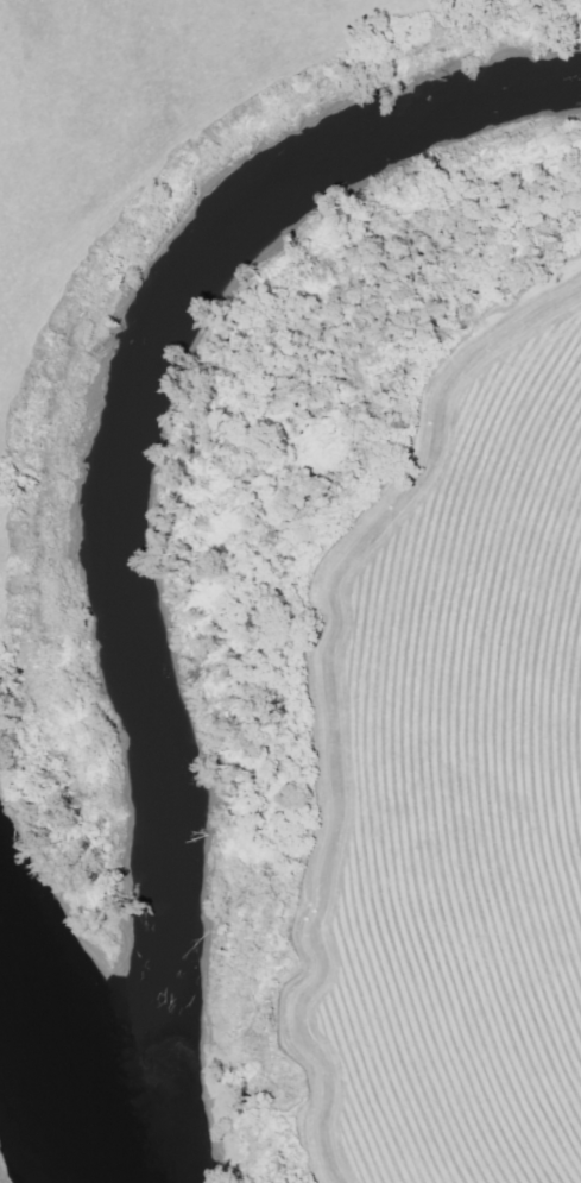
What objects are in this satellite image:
river: (141, 485)
river: (64, 1005)
river: (145, 1156)

